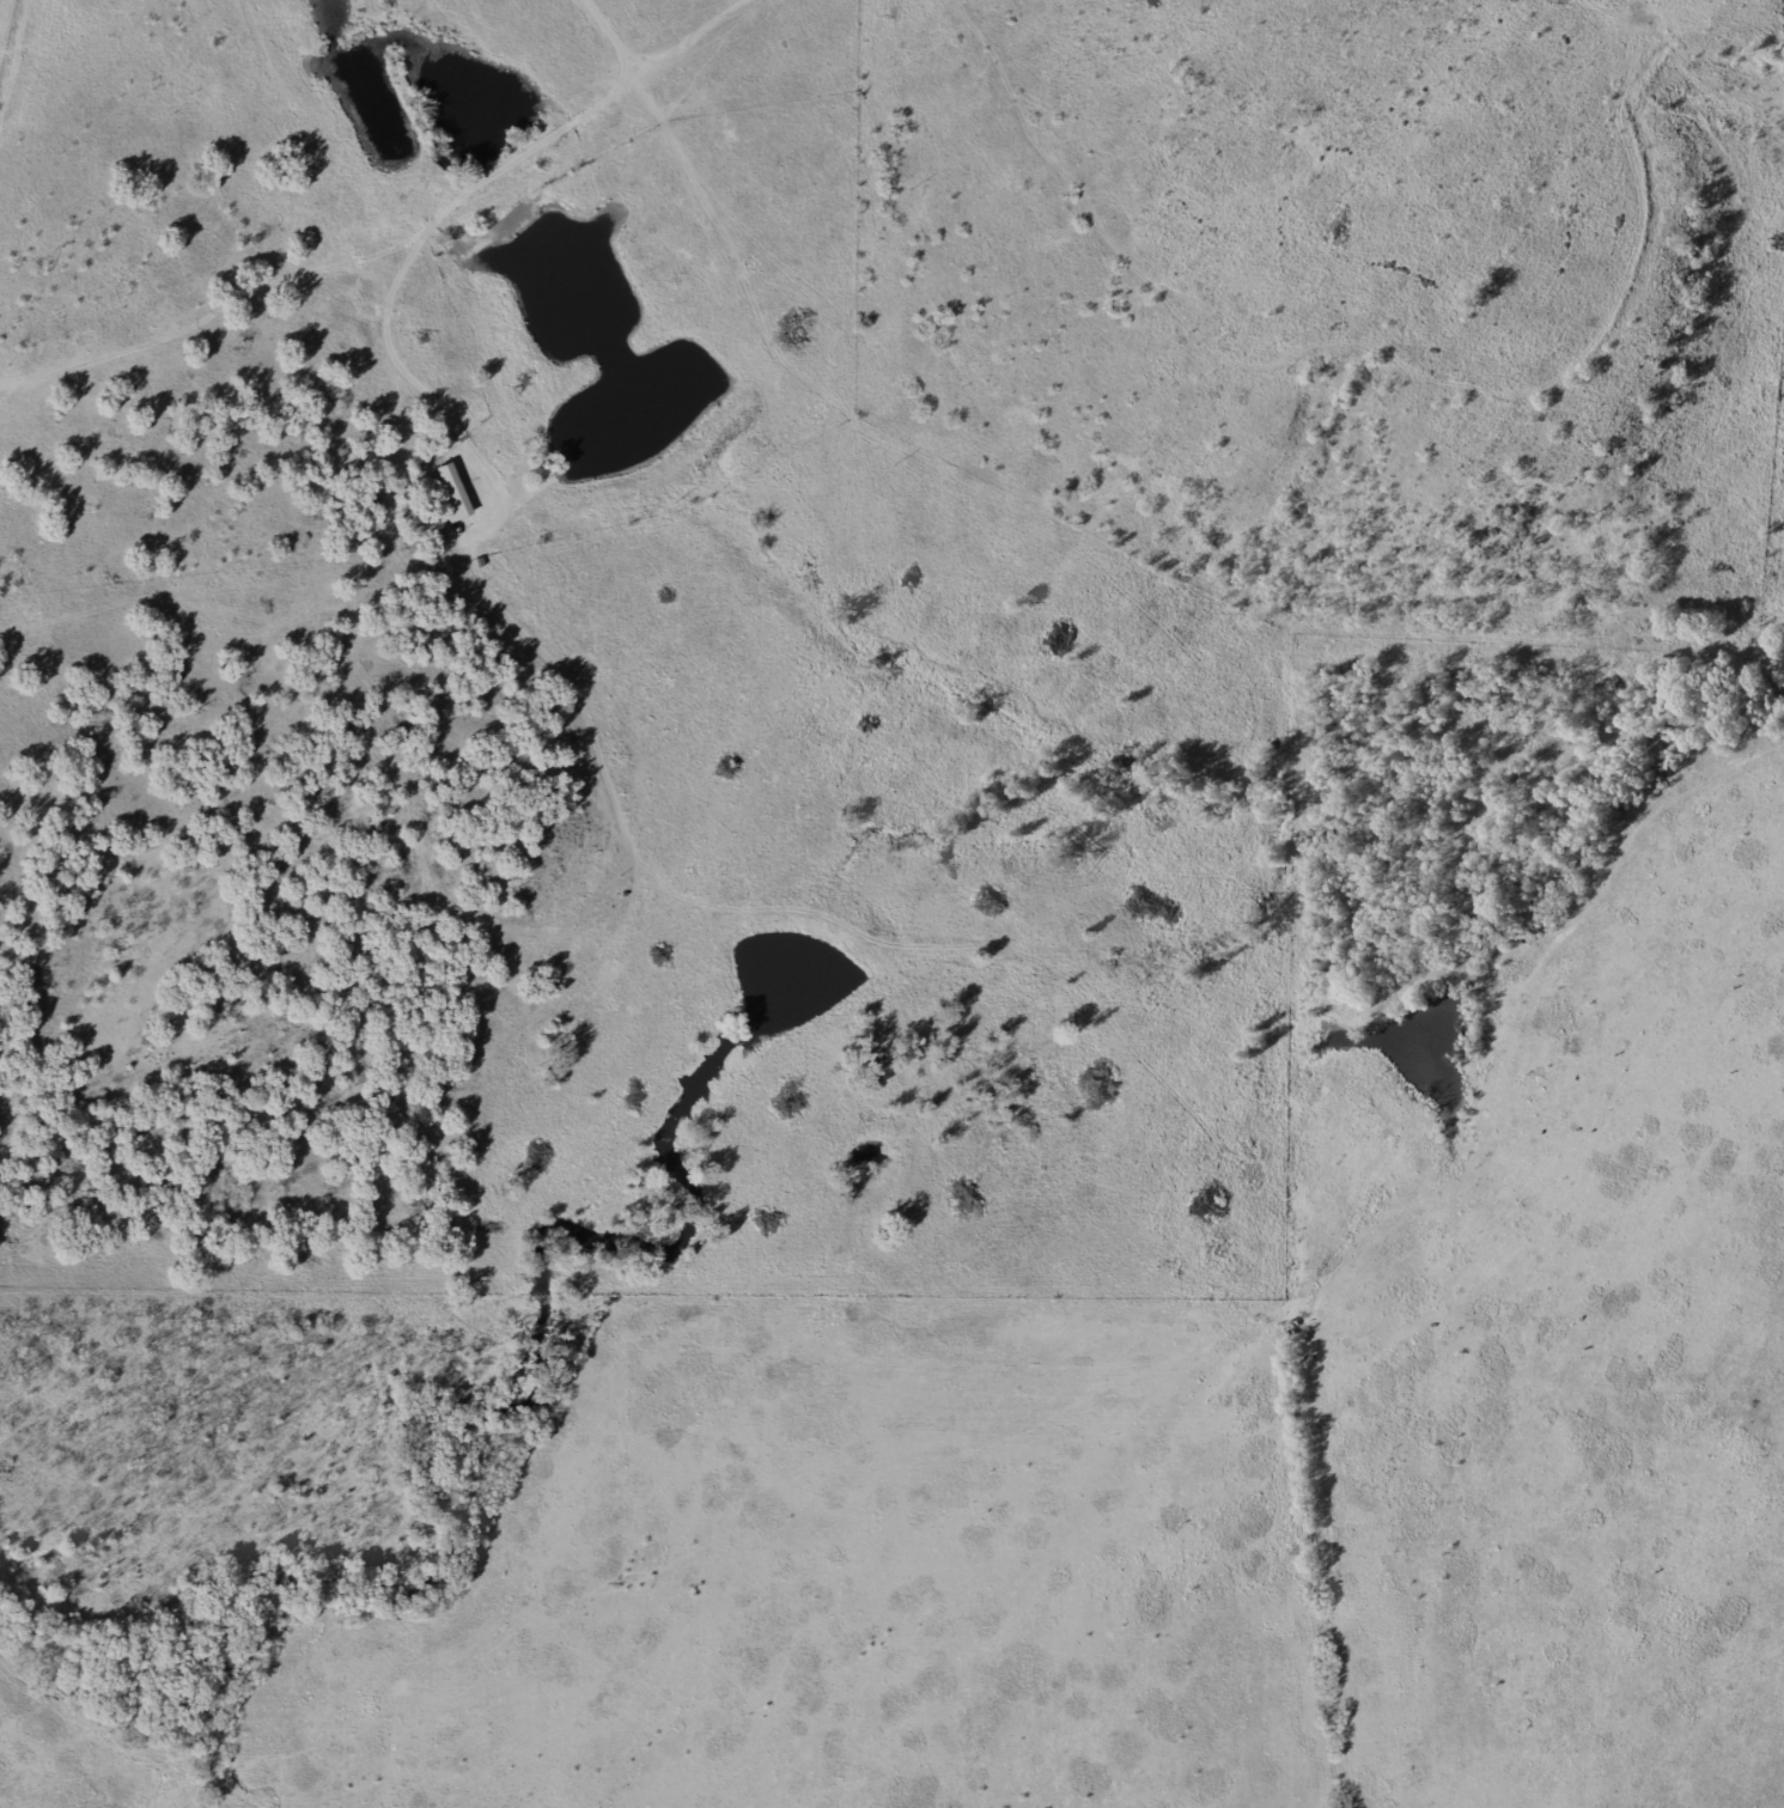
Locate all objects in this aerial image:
building: (452, 493)
road: (974, 905)

